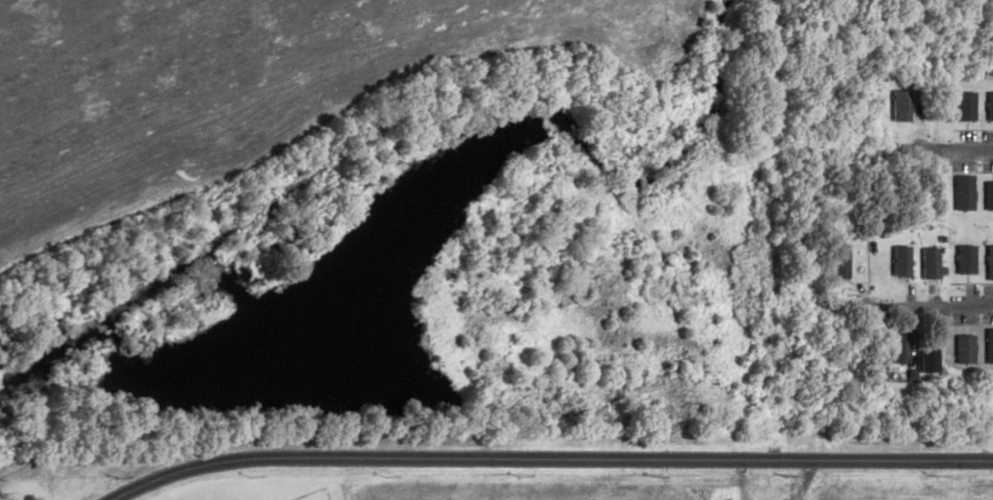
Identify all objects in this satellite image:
building: (898, 106)
building: (962, 106)
building: (988, 106)
road: (940, 152)
building: (961, 192)
building: (987, 195)
building: (963, 259)
building: (898, 261)
building: (988, 262)
building: (927, 263)
building: (837, 264)
road: (919, 307)
building: (988, 345)
building: (898, 347)
building: (962, 349)
building: (926, 357)
road: (547, 457)
road: (798, 479)
park: (314, 496)

